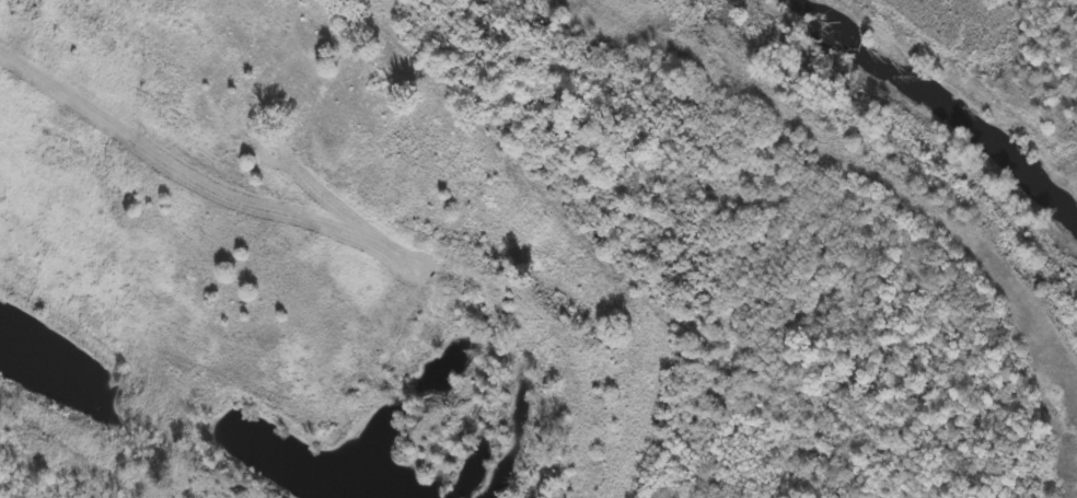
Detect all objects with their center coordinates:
river: (937, 111)

